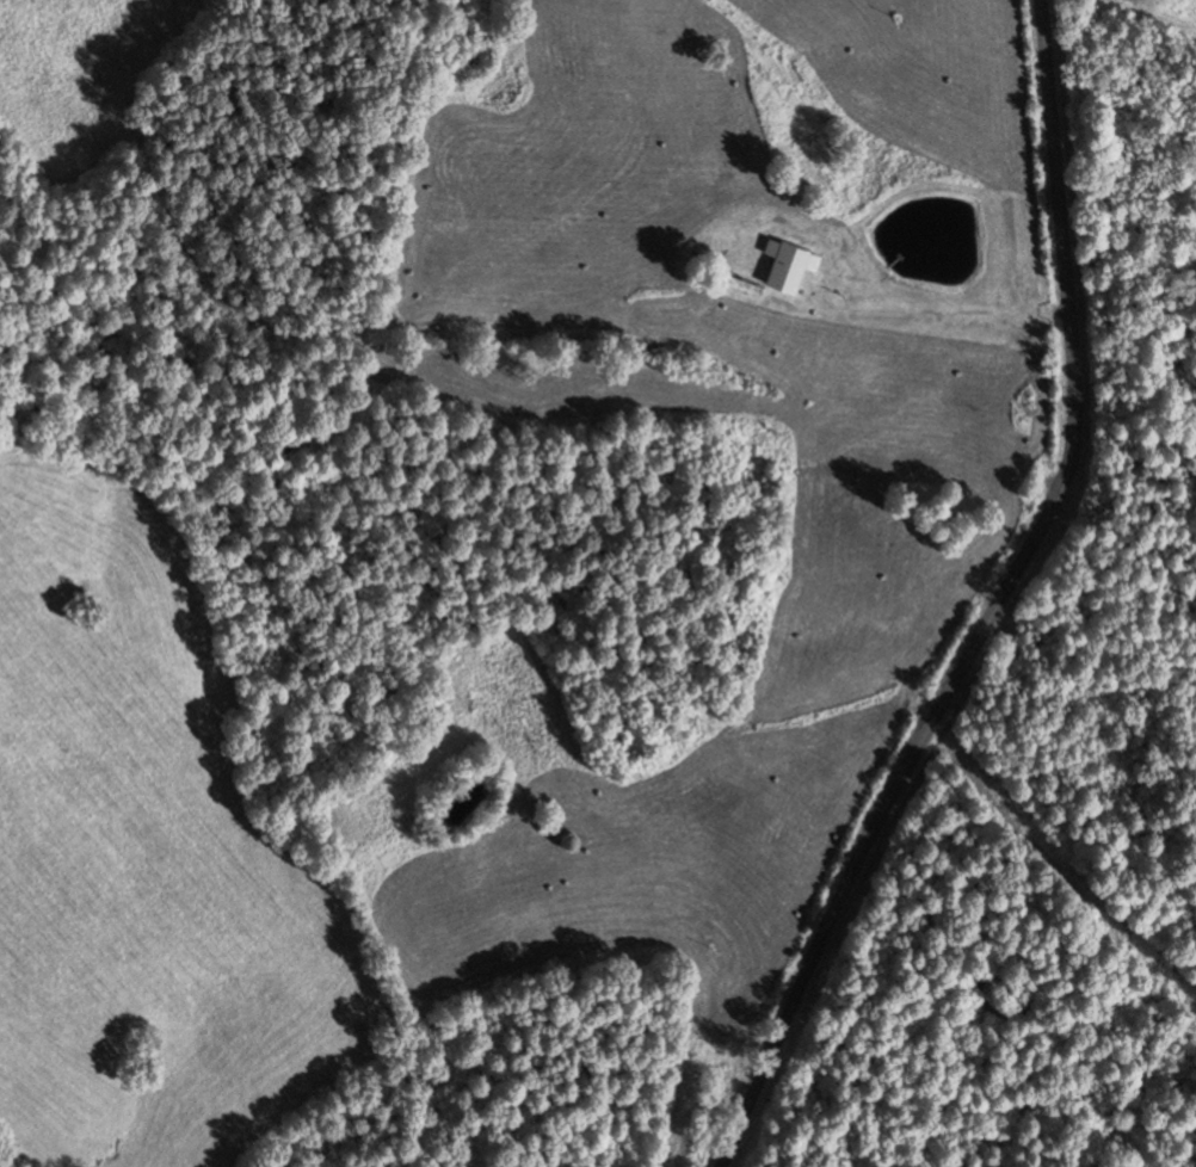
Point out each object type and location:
road: (1000, 606)

